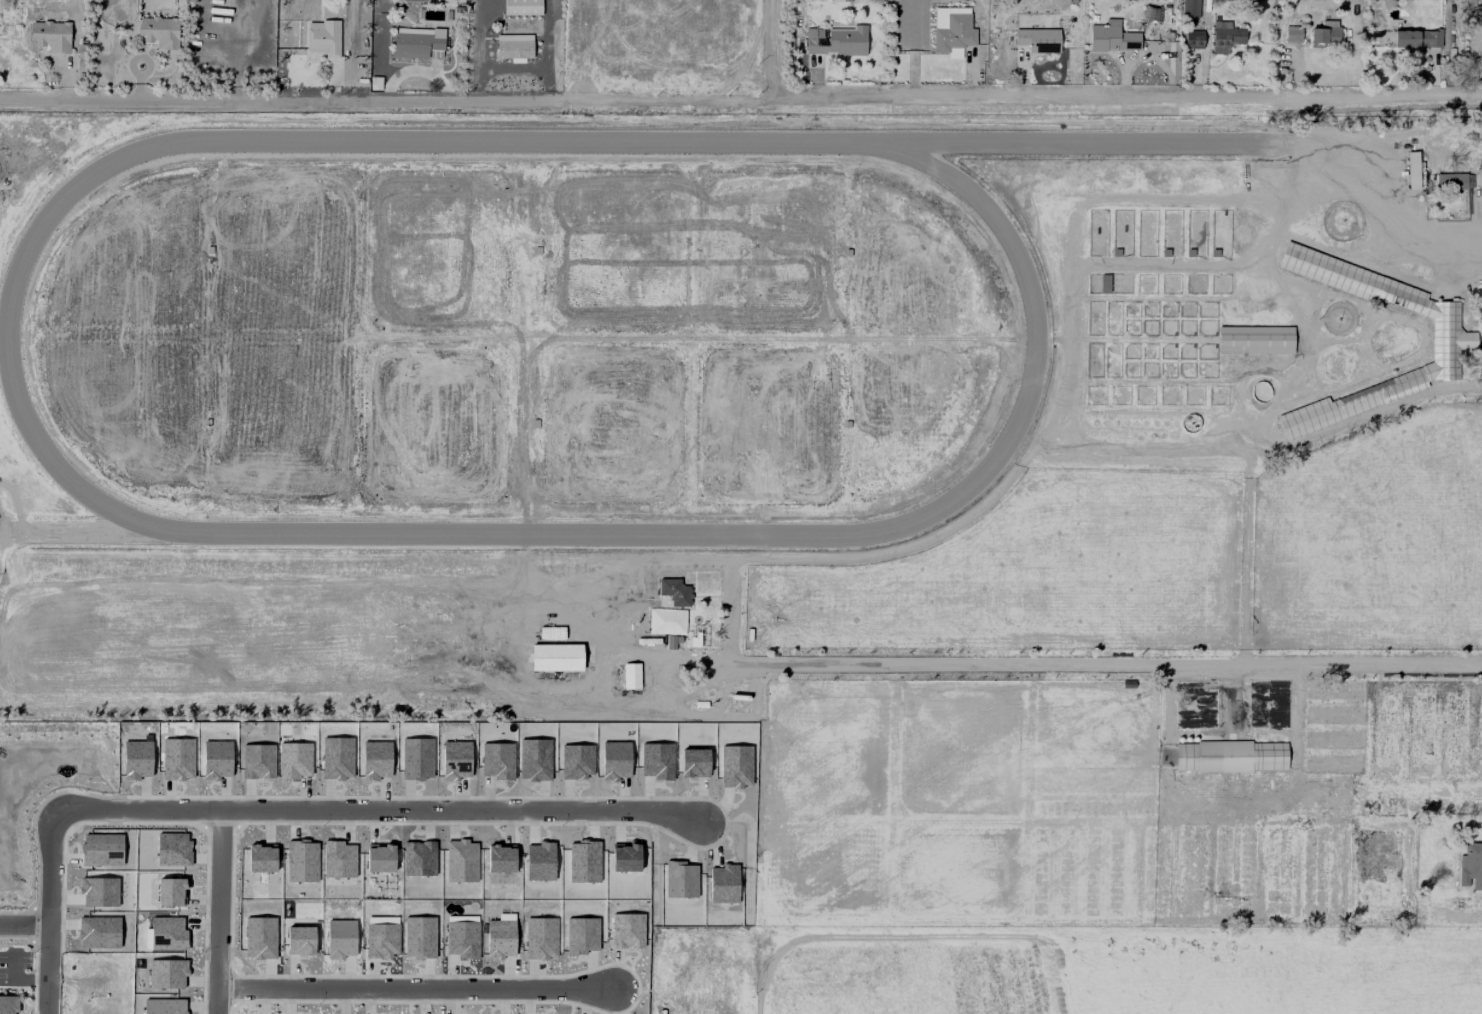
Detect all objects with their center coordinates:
building: (522, 7)
building: (1190, 8)
building: (1150, 13)
building: (159, 31)
building: (1290, 33)
building: (1325, 34)
building: (51, 35)
building: (1113, 36)
building: (1225, 36)
building: (323, 37)
building: (1193, 38)
building: (1405, 38)
building: (1431, 38)
building: (1038, 39)
building: (836, 40)
building: (416, 41)
building: (514, 46)
road: (74, 51)
road: (771, 55)
road: (741, 109)
building: (1412, 169)
building: (1451, 180)
building: (1480, 181)
road: (1391, 212)
building: (1255, 339)
building: (675, 591)
road: (1117, 652)
building: (556, 656)
road: (376, 691)
building: (1230, 756)
road: (1309, 787)
road: (78, 804)
road: (353, 812)
building: (1471, 866)
road: (48, 945)
road: (406, 986)
building: (8, 1004)

